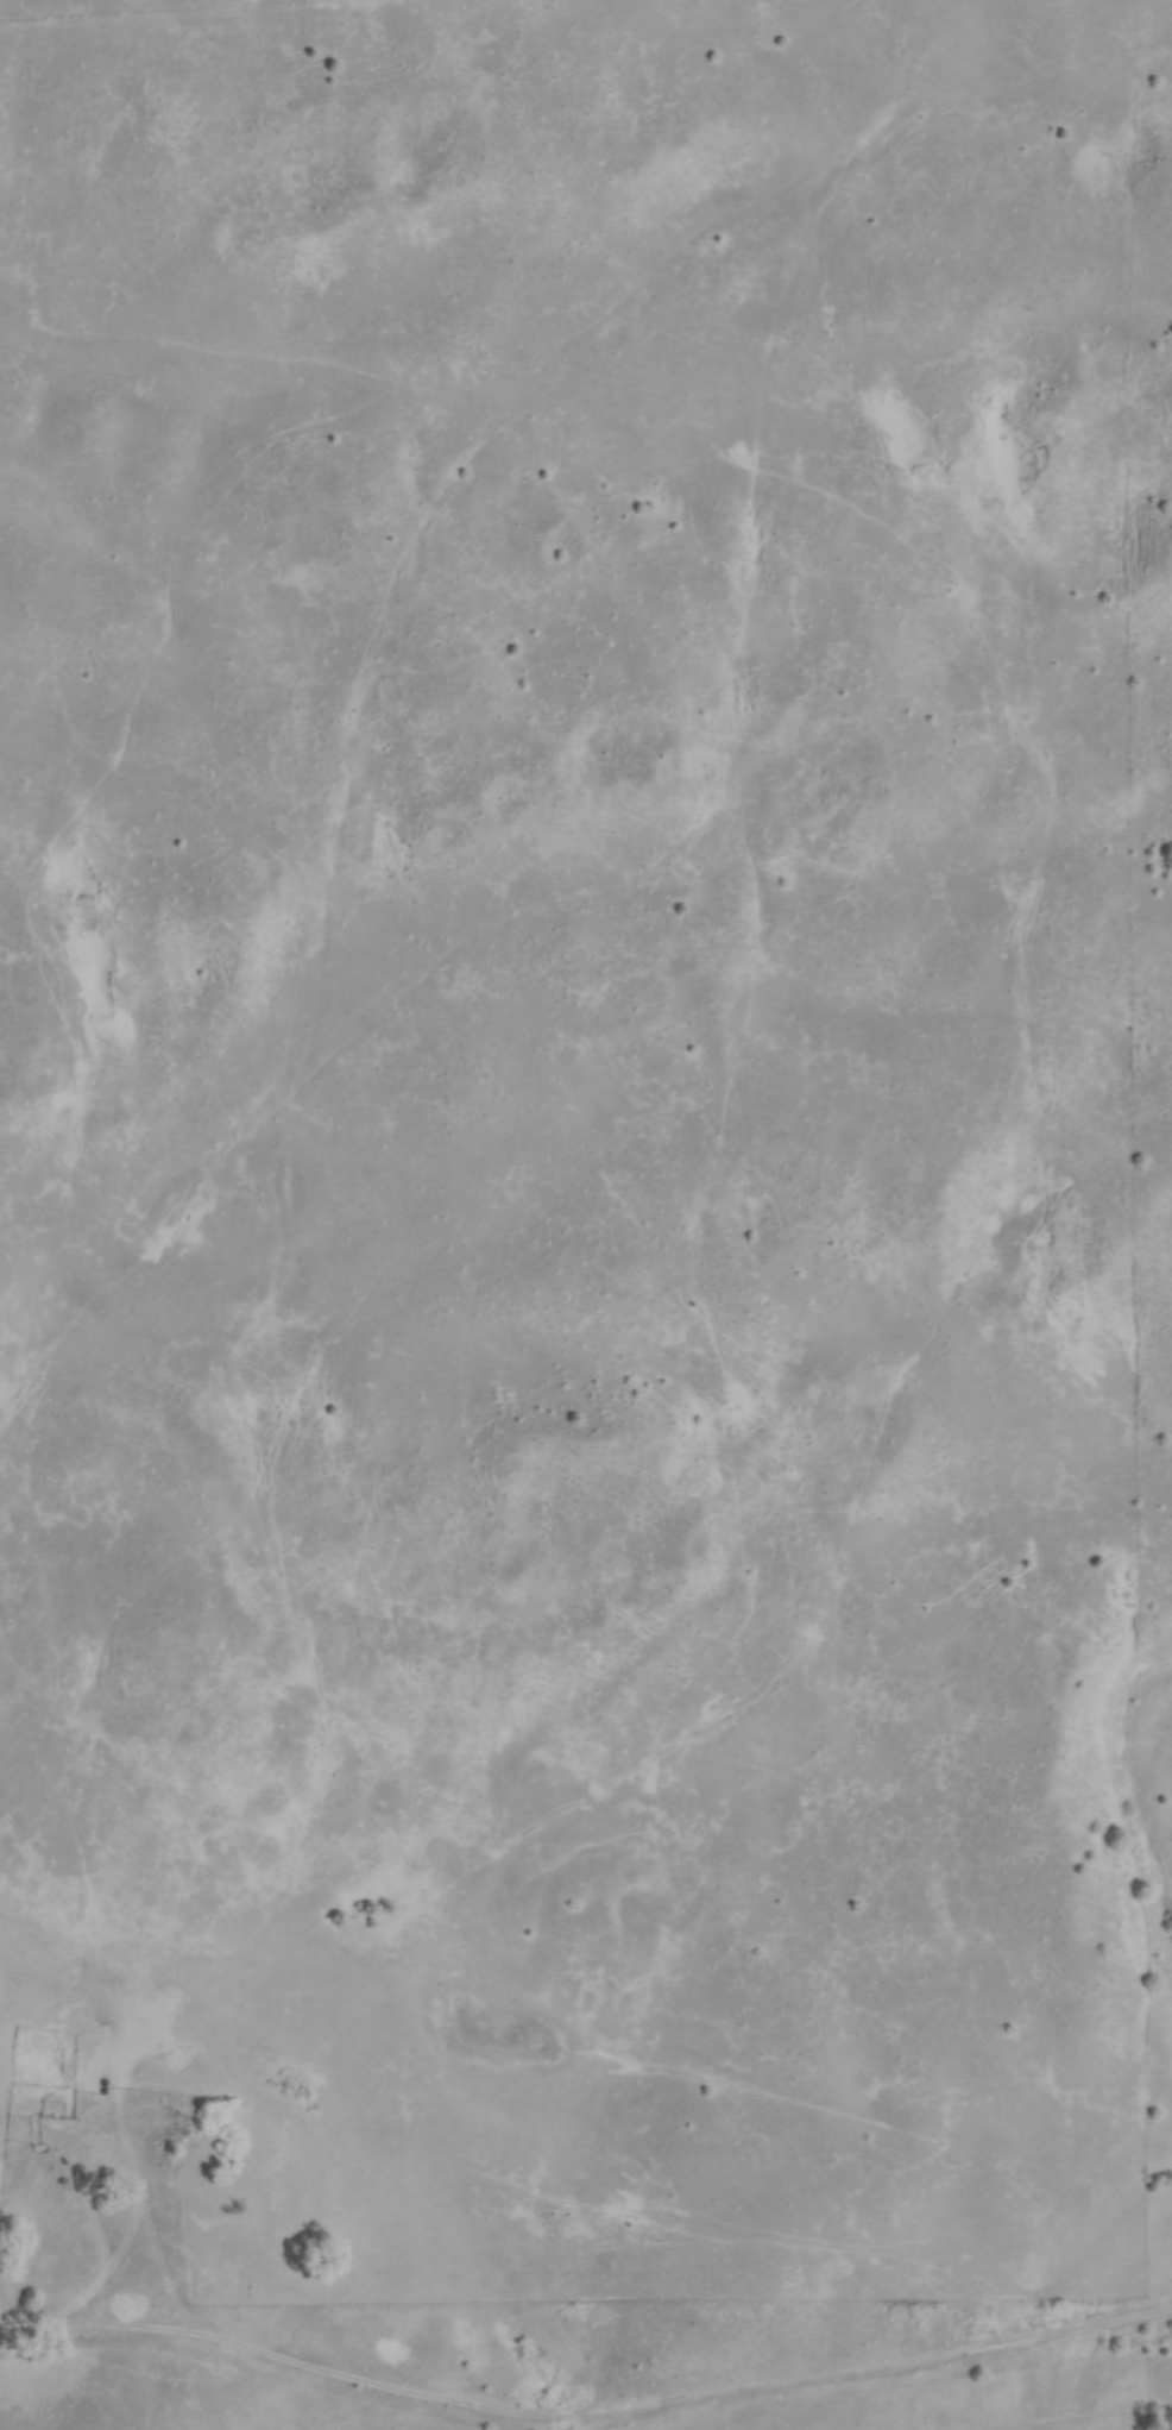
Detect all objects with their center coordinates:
road: (585, 2417)

